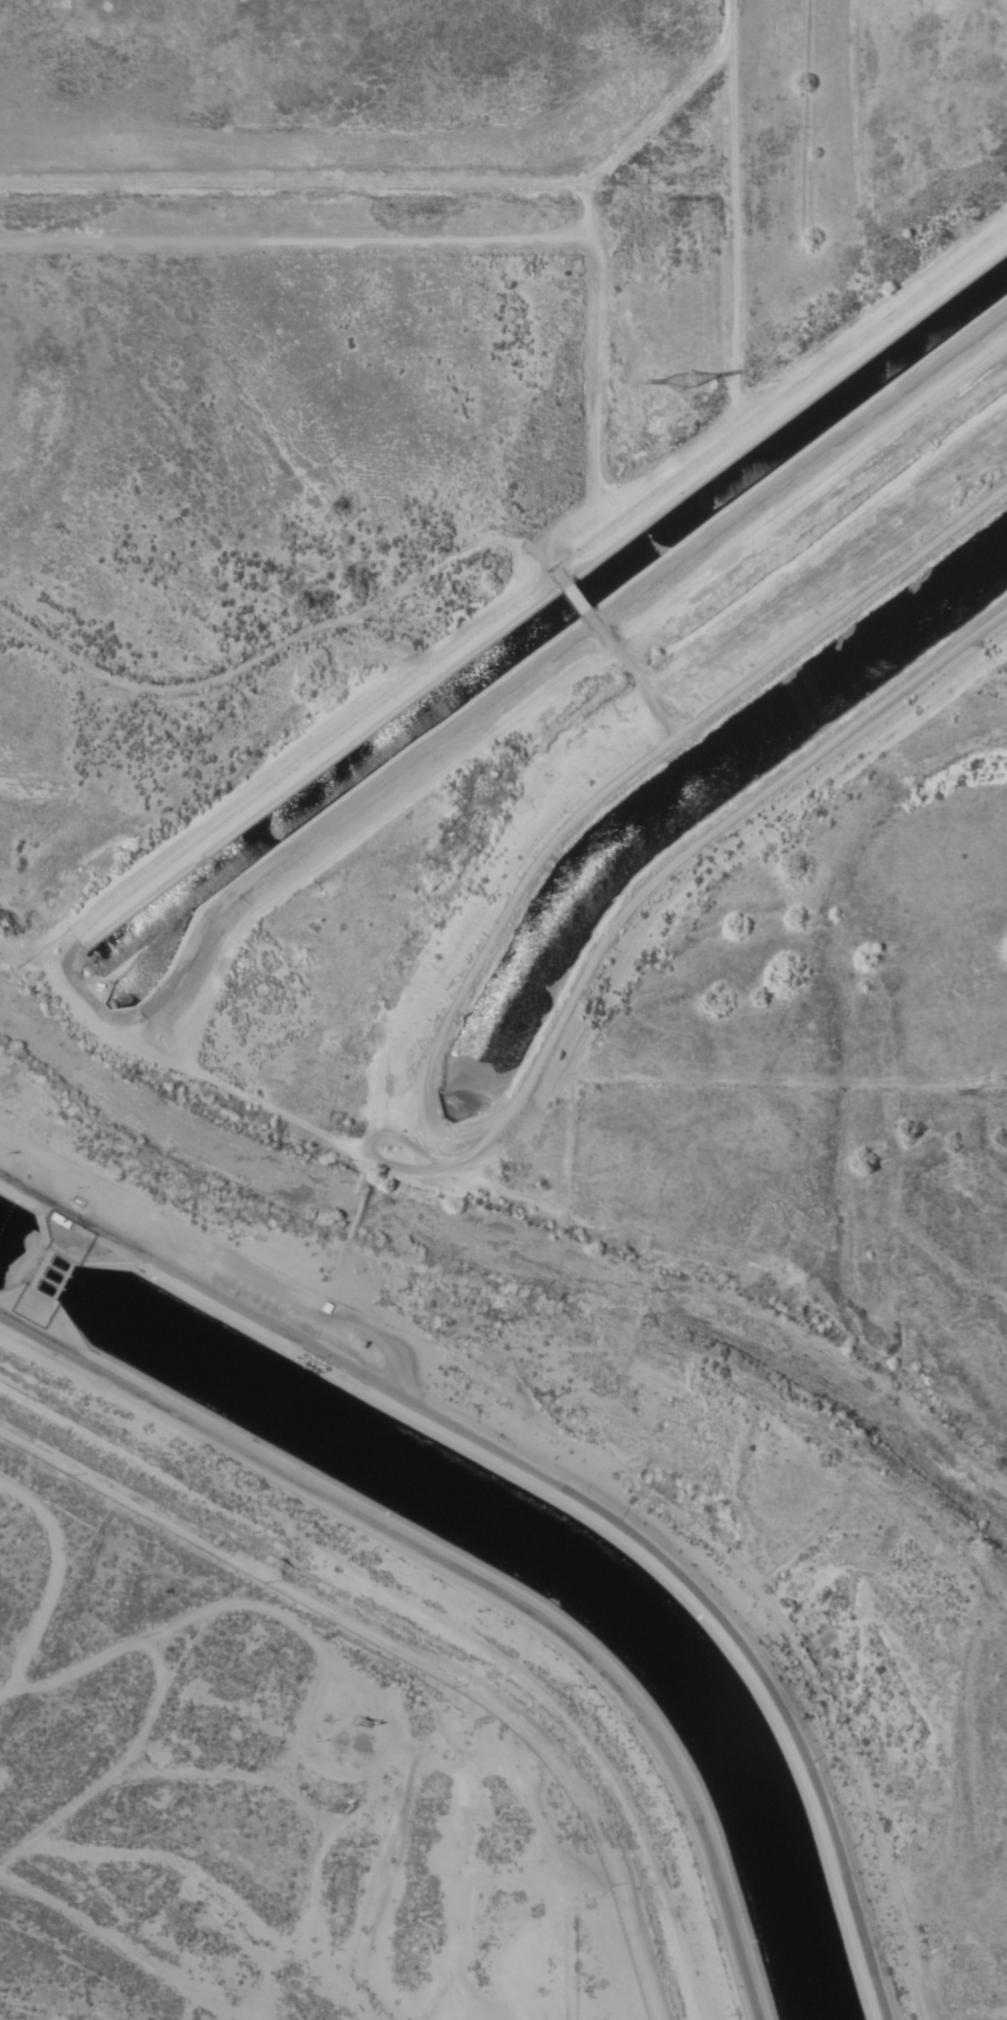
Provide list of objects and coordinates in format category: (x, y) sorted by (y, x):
crop: (550, 166)
power tower: (671, 382)
road: (577, 600)
road: (288, 639)
power tower: (994, 1088)
road: (507, 1089)
road: (387, 1113)
road: (356, 1198)
road: (326, 1287)
road: (558, 1490)
road: (469, 1587)
road: (166, 1624)
road: (126, 1754)

